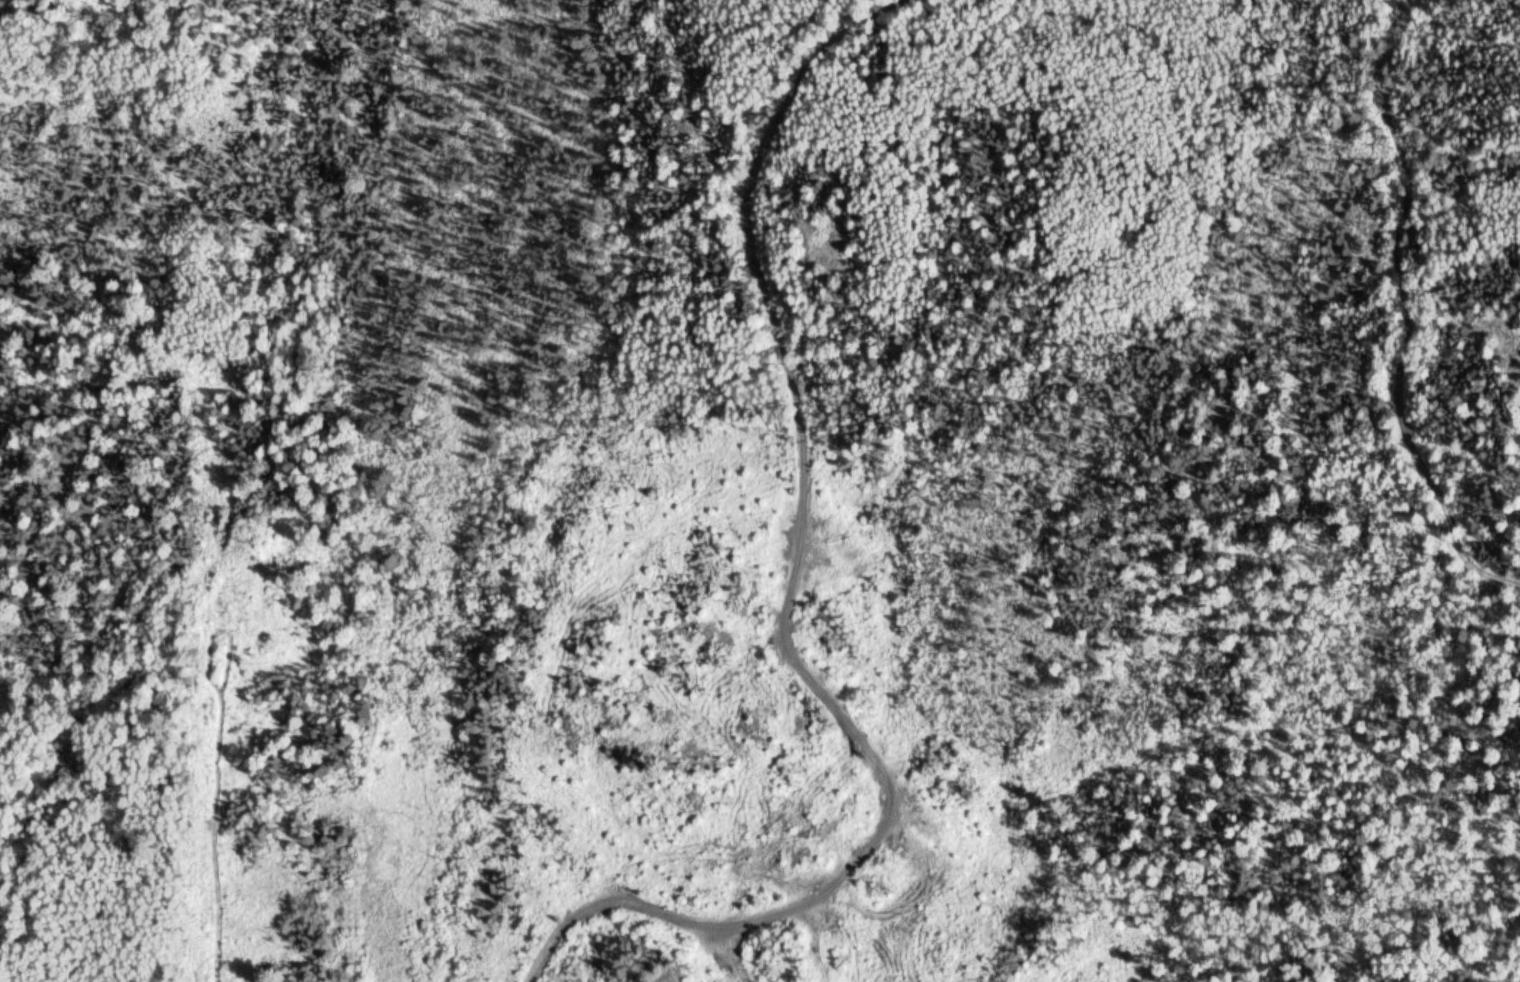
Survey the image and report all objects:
road: (1399, 311)
road: (785, 619)

